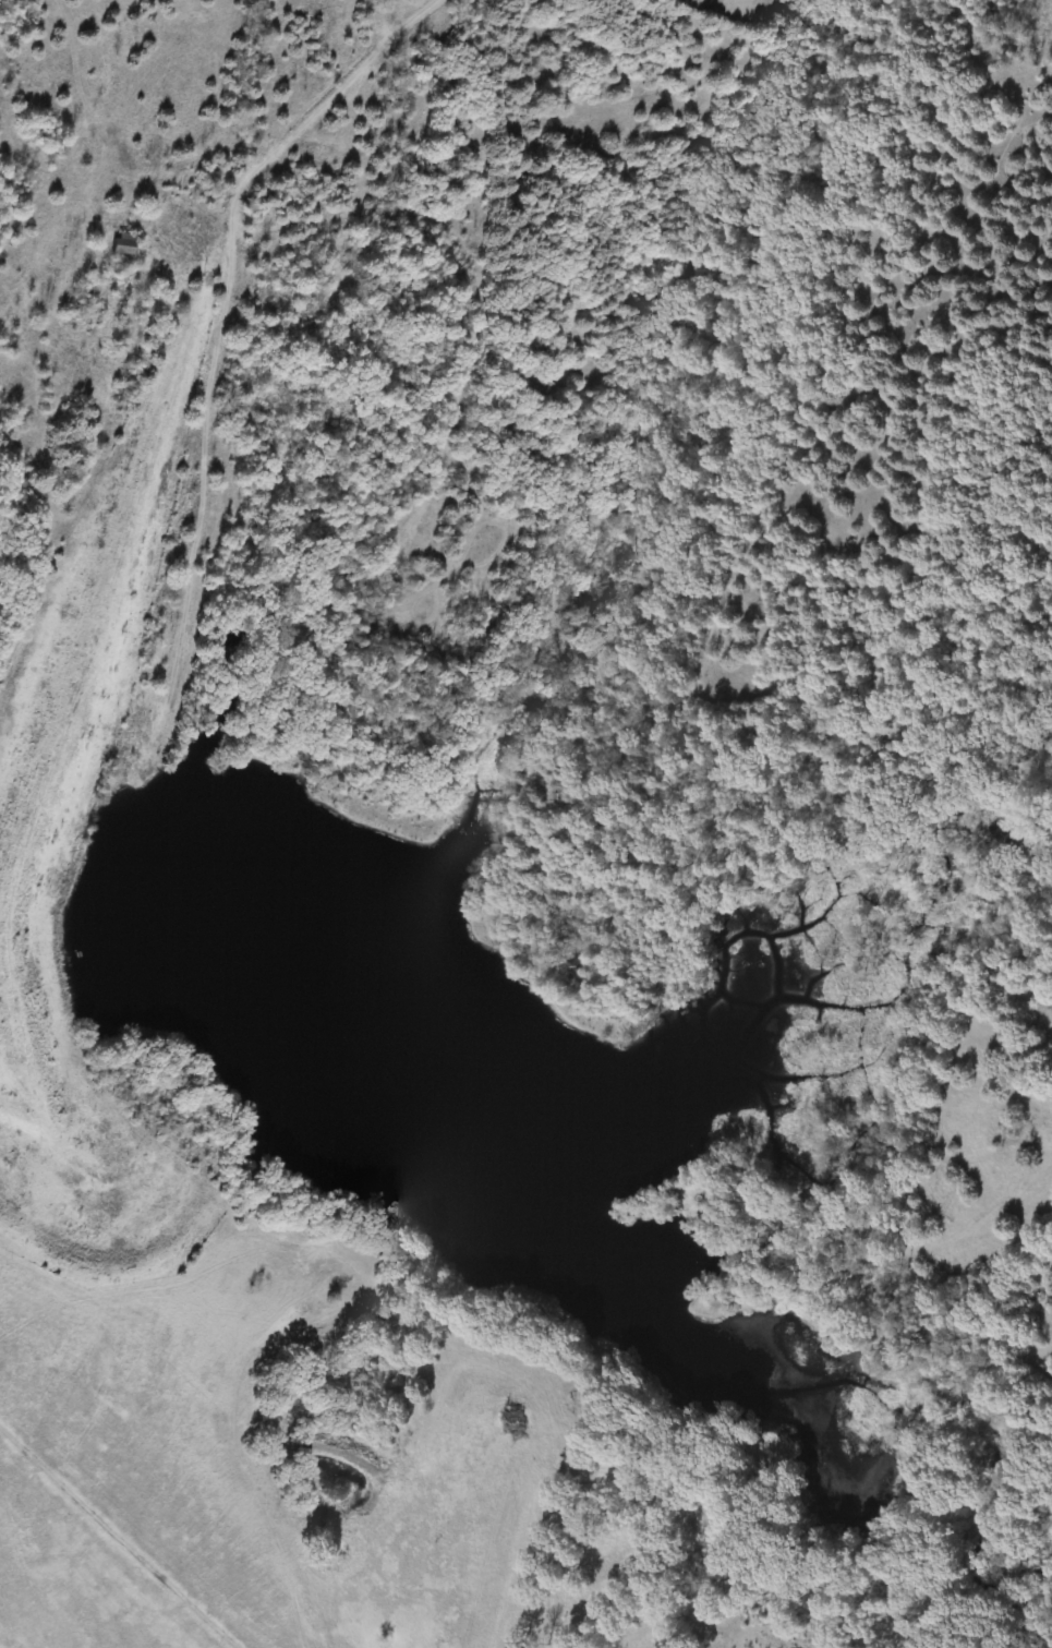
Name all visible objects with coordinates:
building: (121, 243)

